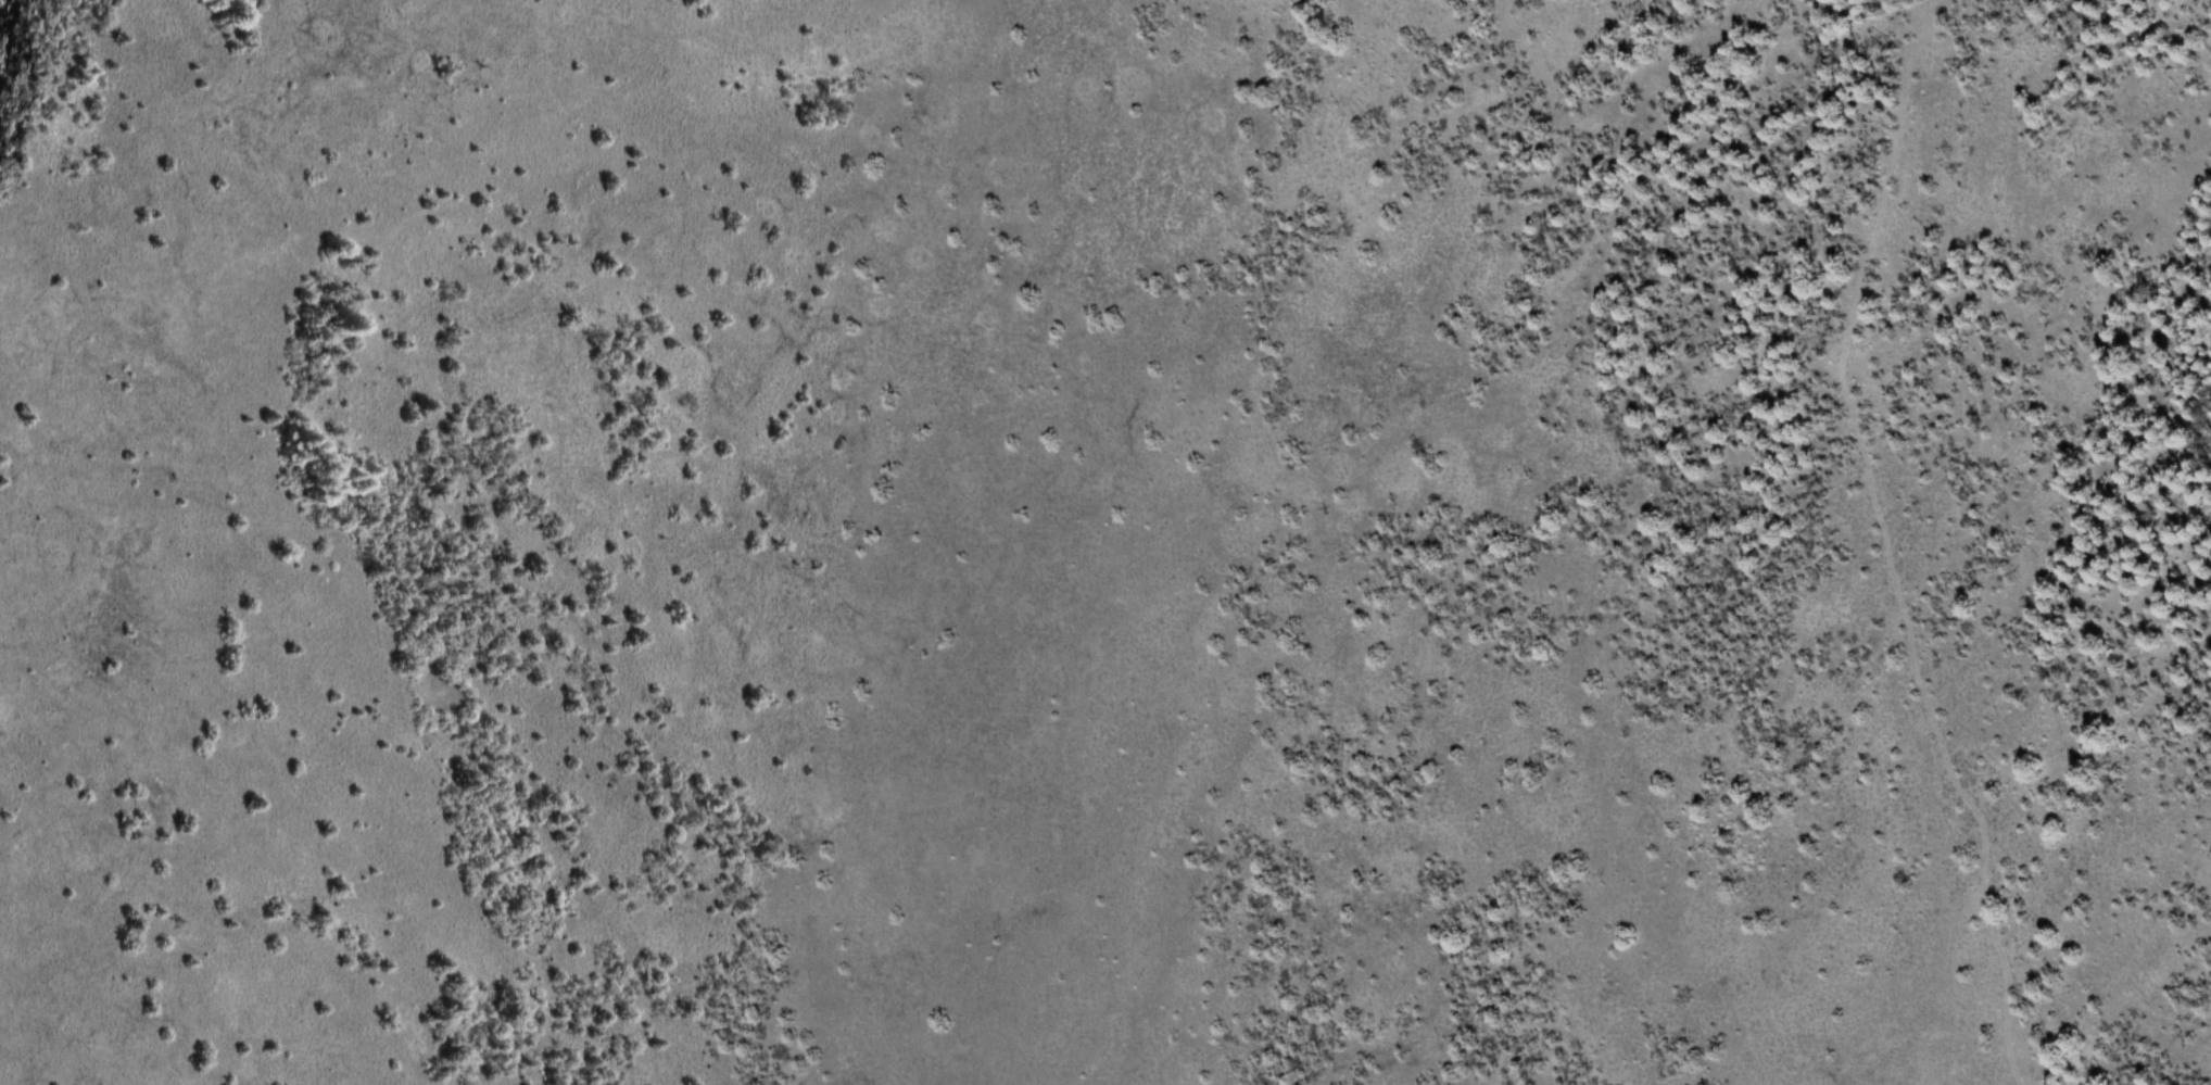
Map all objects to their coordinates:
road: (1899, 610)

